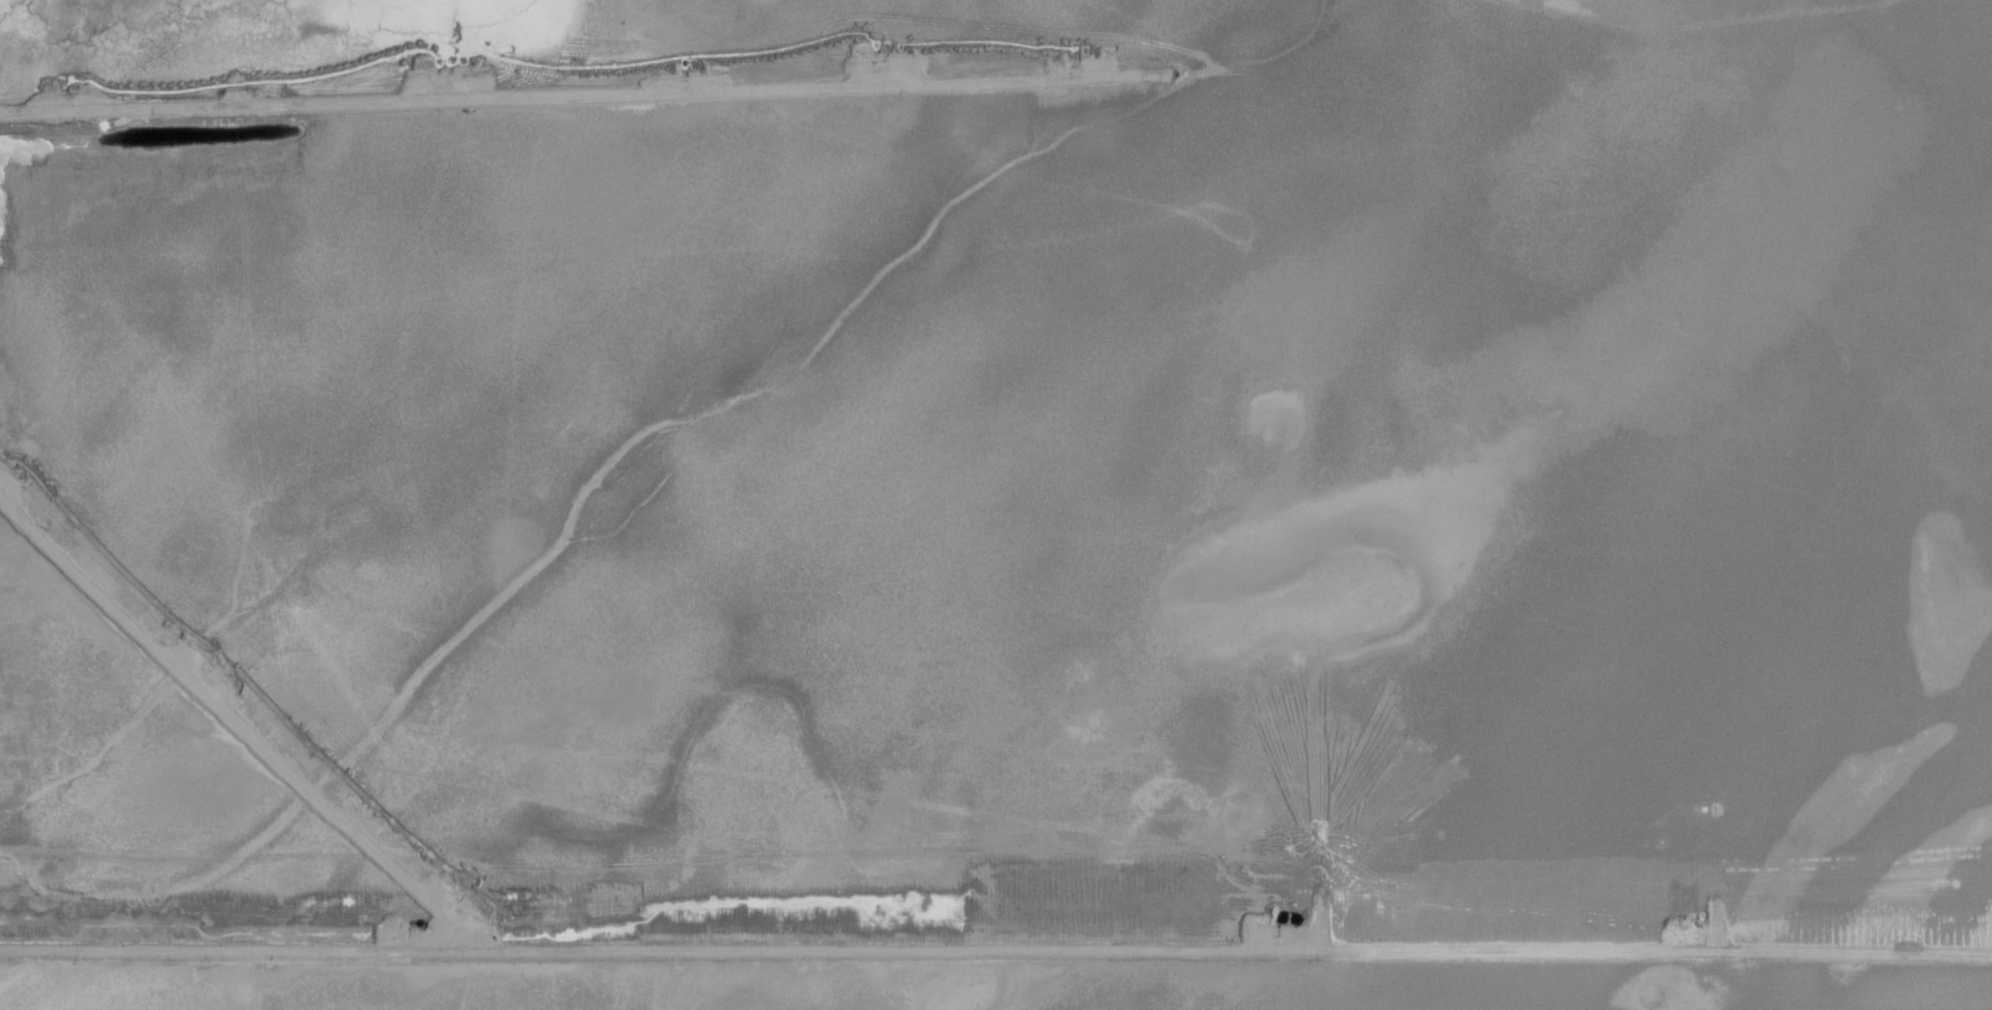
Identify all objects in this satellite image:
quarry: (165, 94)

